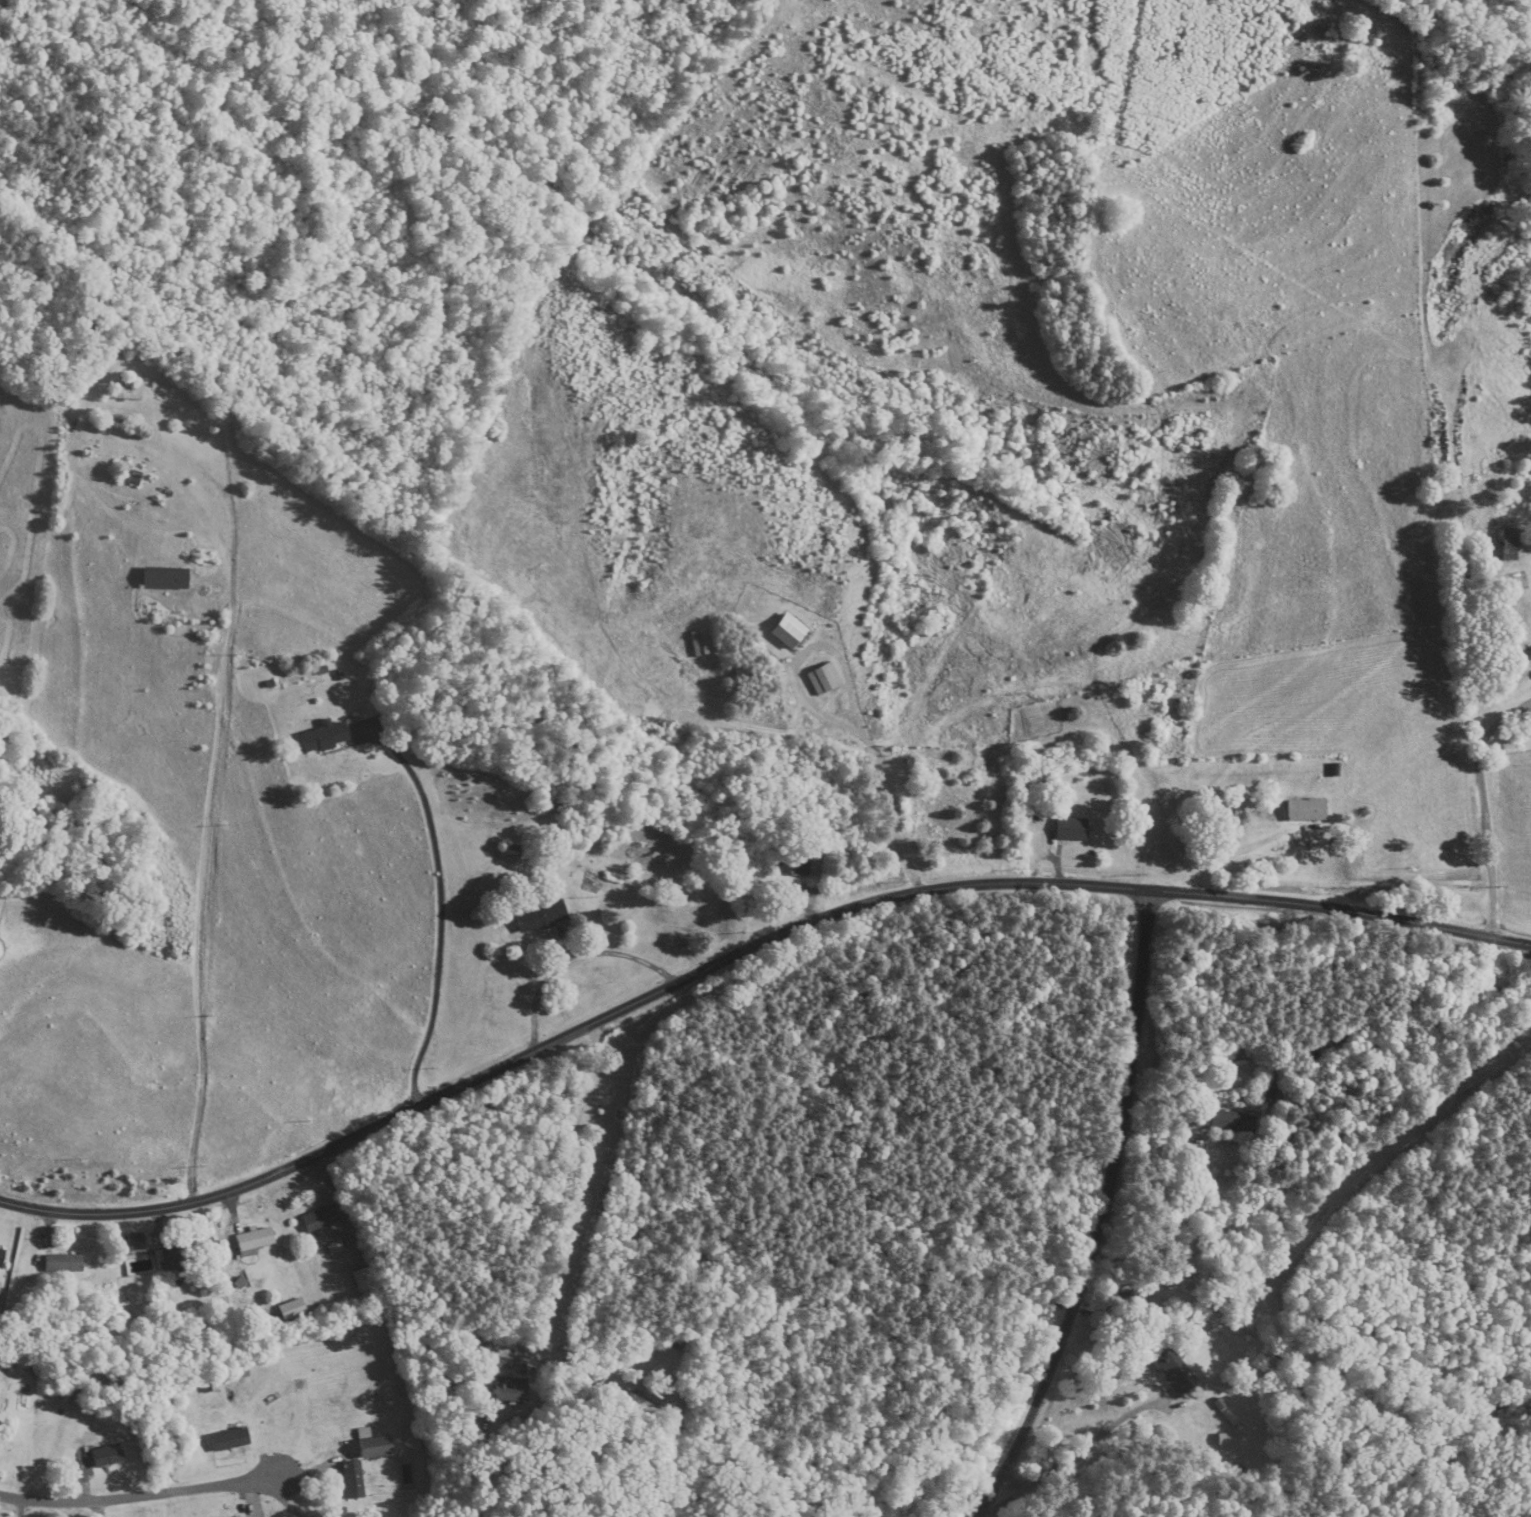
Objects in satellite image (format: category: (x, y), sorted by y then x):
building: (123, 394)
building: (1508, 544)
building: (1523, 604)
road: (852, 700)
building: (1171, 730)
building: (327, 738)
road: (1486, 808)
building: (1303, 811)
building: (1069, 830)
building: (794, 866)
road: (442, 904)
building: (543, 917)
road: (744, 950)
building: (1270, 1094)
building: (1218, 1122)
road: (557, 1187)
road: (1103, 1214)
building: (321, 1219)
building: (256, 1242)
building: (181, 1255)
building: (3, 1256)
building: (65, 1263)
building: (363, 1280)
building: (294, 1310)
building: (1170, 1371)
building: (513, 1391)
building: (644, 1404)
building: (329, 1407)
building: (522, 1413)
building: (1224, 1438)
building: (232, 1440)
building: (378, 1448)
building: (110, 1456)
building: (355, 1481)
road: (141, 1498)
road: (287, 1503)

